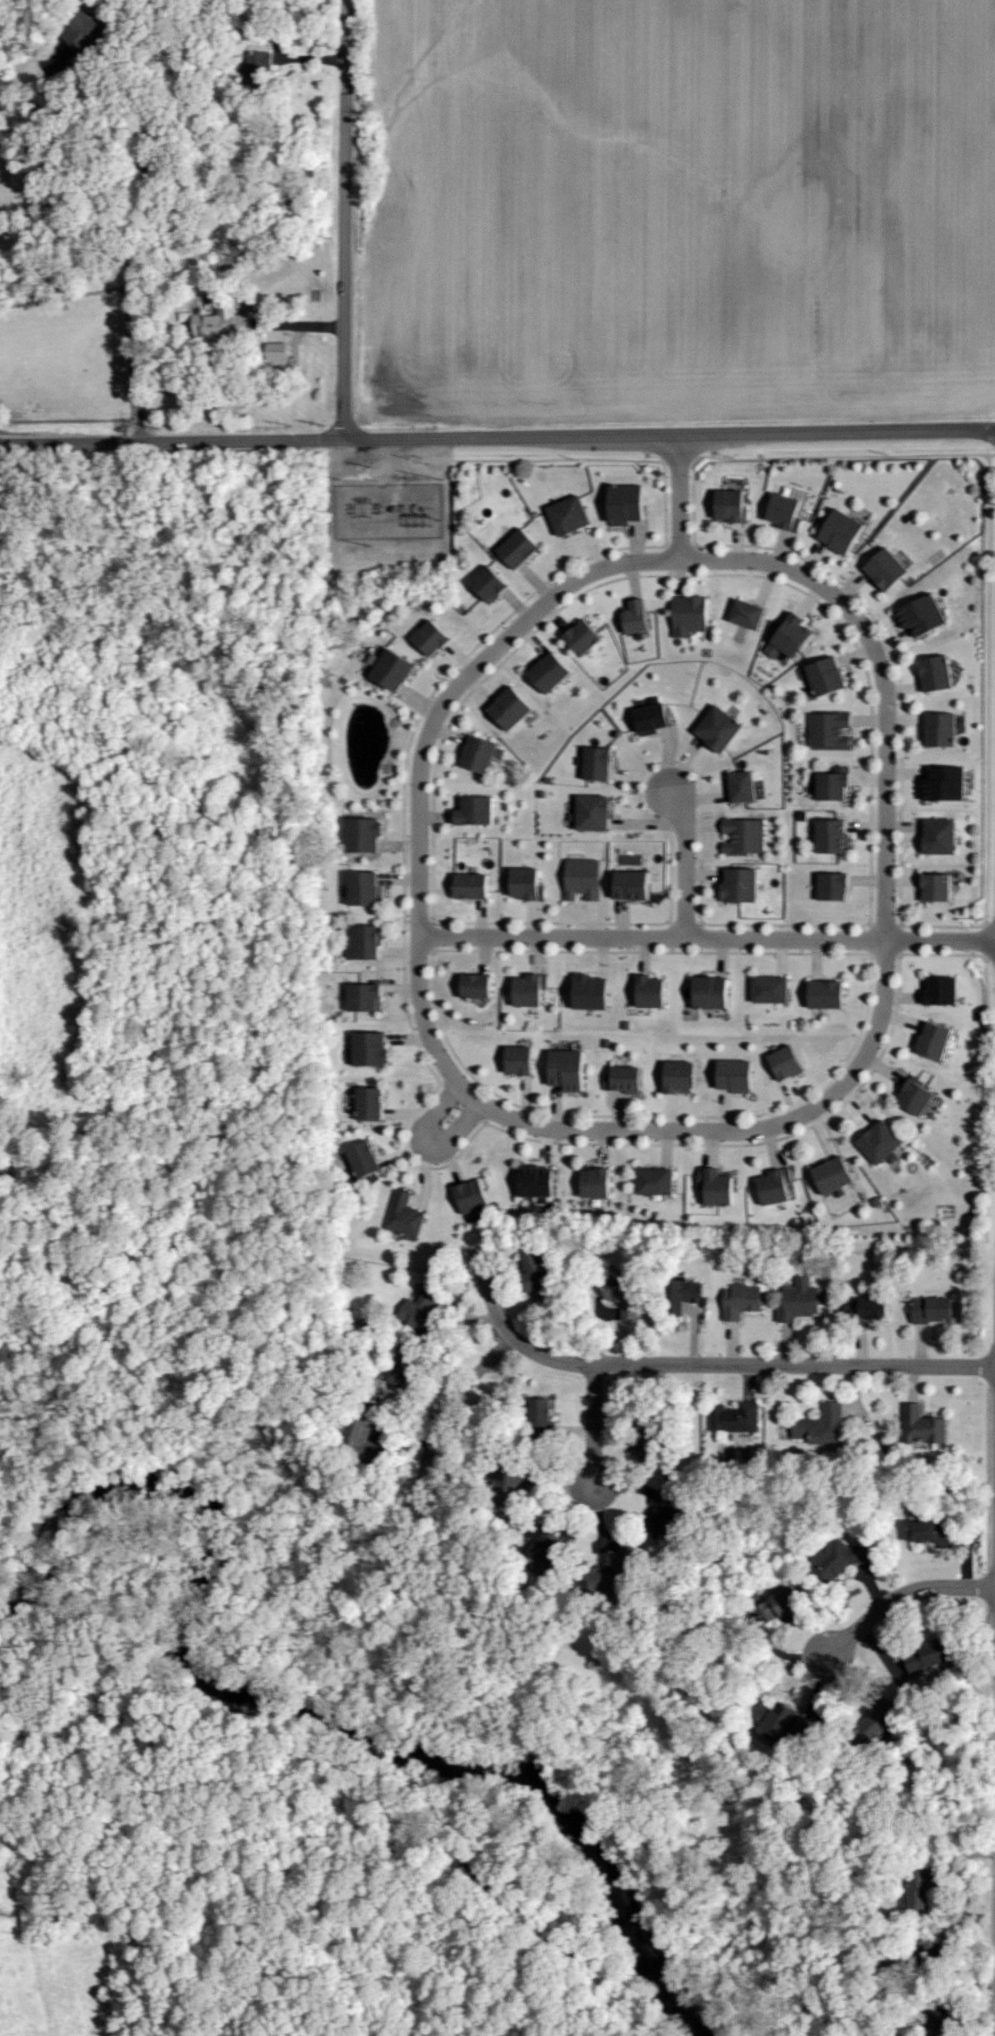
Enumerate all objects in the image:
building: (85, 30)
building: (258, 67)
road: (344, 219)
road: (132, 259)
road: (290, 320)
building: (223, 321)
building: (278, 351)
road: (497, 438)
road: (679, 497)
building: (629, 503)
building: (733, 505)
building: (786, 511)
building: (571, 515)
building: (843, 531)
building: (521, 549)
road: (677, 559)
building: (888, 570)
building: (490, 584)
building: (750, 614)
building: (691, 615)
building: (924, 615)
building: (638, 617)
building: (586, 637)
building: (793, 637)
building: (434, 639)
building: (395, 670)
building: (552, 673)
building: (938, 673)
building: (828, 677)
building: (513, 708)
building: (653, 718)
building: (721, 729)
building: (943, 729)
building: (829, 730)
building: (481, 754)
building: (599, 764)
building: (835, 784)
building: (947, 784)
building: (744, 786)
building: (478, 811)
building: (595, 812)
building: (365, 835)
building: (745, 836)
building: (833, 836)
building: (942, 836)
road: (688, 863)
building: (584, 879)
building: (528, 884)
building: (743, 885)
building: (473, 886)
building: (635, 886)
building: (835, 887)
building: (939, 888)
building: (365, 889)
road: (707, 940)
building: (363, 942)
building: (478, 986)
building: (773, 990)
building: (652, 992)
building: (944, 992)
building: (593, 993)
building: (713, 993)
building: (829, 995)
building: (366, 998)
building: (936, 1041)
building: (373, 1050)
building: (521, 1061)
building: (789, 1063)
building: (570, 1070)
building: (738, 1075)
building: (681, 1078)
building: (625, 1079)
building: (918, 1097)
building: (372, 1104)
road: (651, 1134)
road: (429, 1140)
building: (883, 1143)
building: (366, 1161)
building: (835, 1176)
building: (658, 1182)
building: (538, 1183)
building: (598, 1184)
building: (717, 1187)
building: (776, 1188)
building: (474, 1198)
building: (405, 1216)
building: (535, 1271)
building: (801, 1286)
building: (691, 1287)
road: (701, 1365)
road: (458, 1396)
building: (538, 1414)
building: (734, 1418)
road: (594, 1423)
building: (820, 1427)
building: (922, 1428)
building: (361, 1437)
building: (647, 1448)
building: (504, 1491)
building: (659, 1516)
building: (930, 1535)
building: (541, 1547)
building: (840, 1562)
building: (603, 1581)
road: (901, 1595)
building: (778, 1608)
building: (928, 1663)
building: (771, 1725)
building: (921, 1887)

